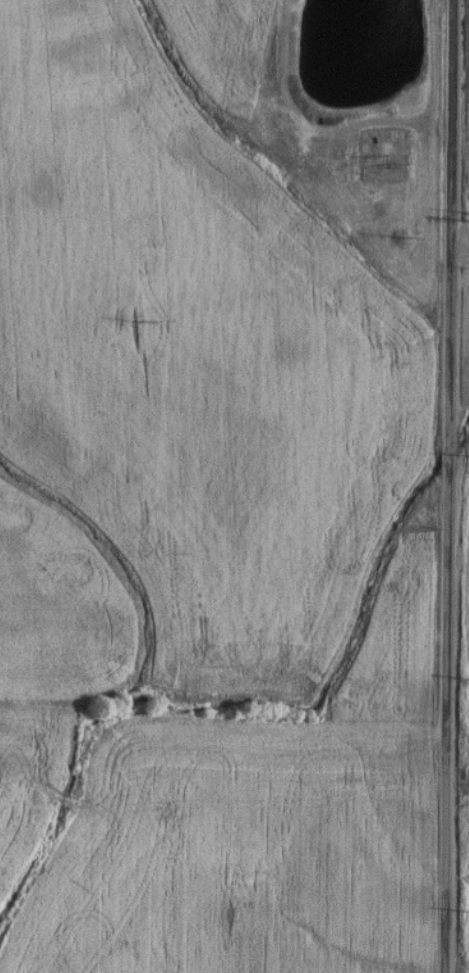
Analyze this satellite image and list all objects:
building: (322, 149)
road: (446, 486)

